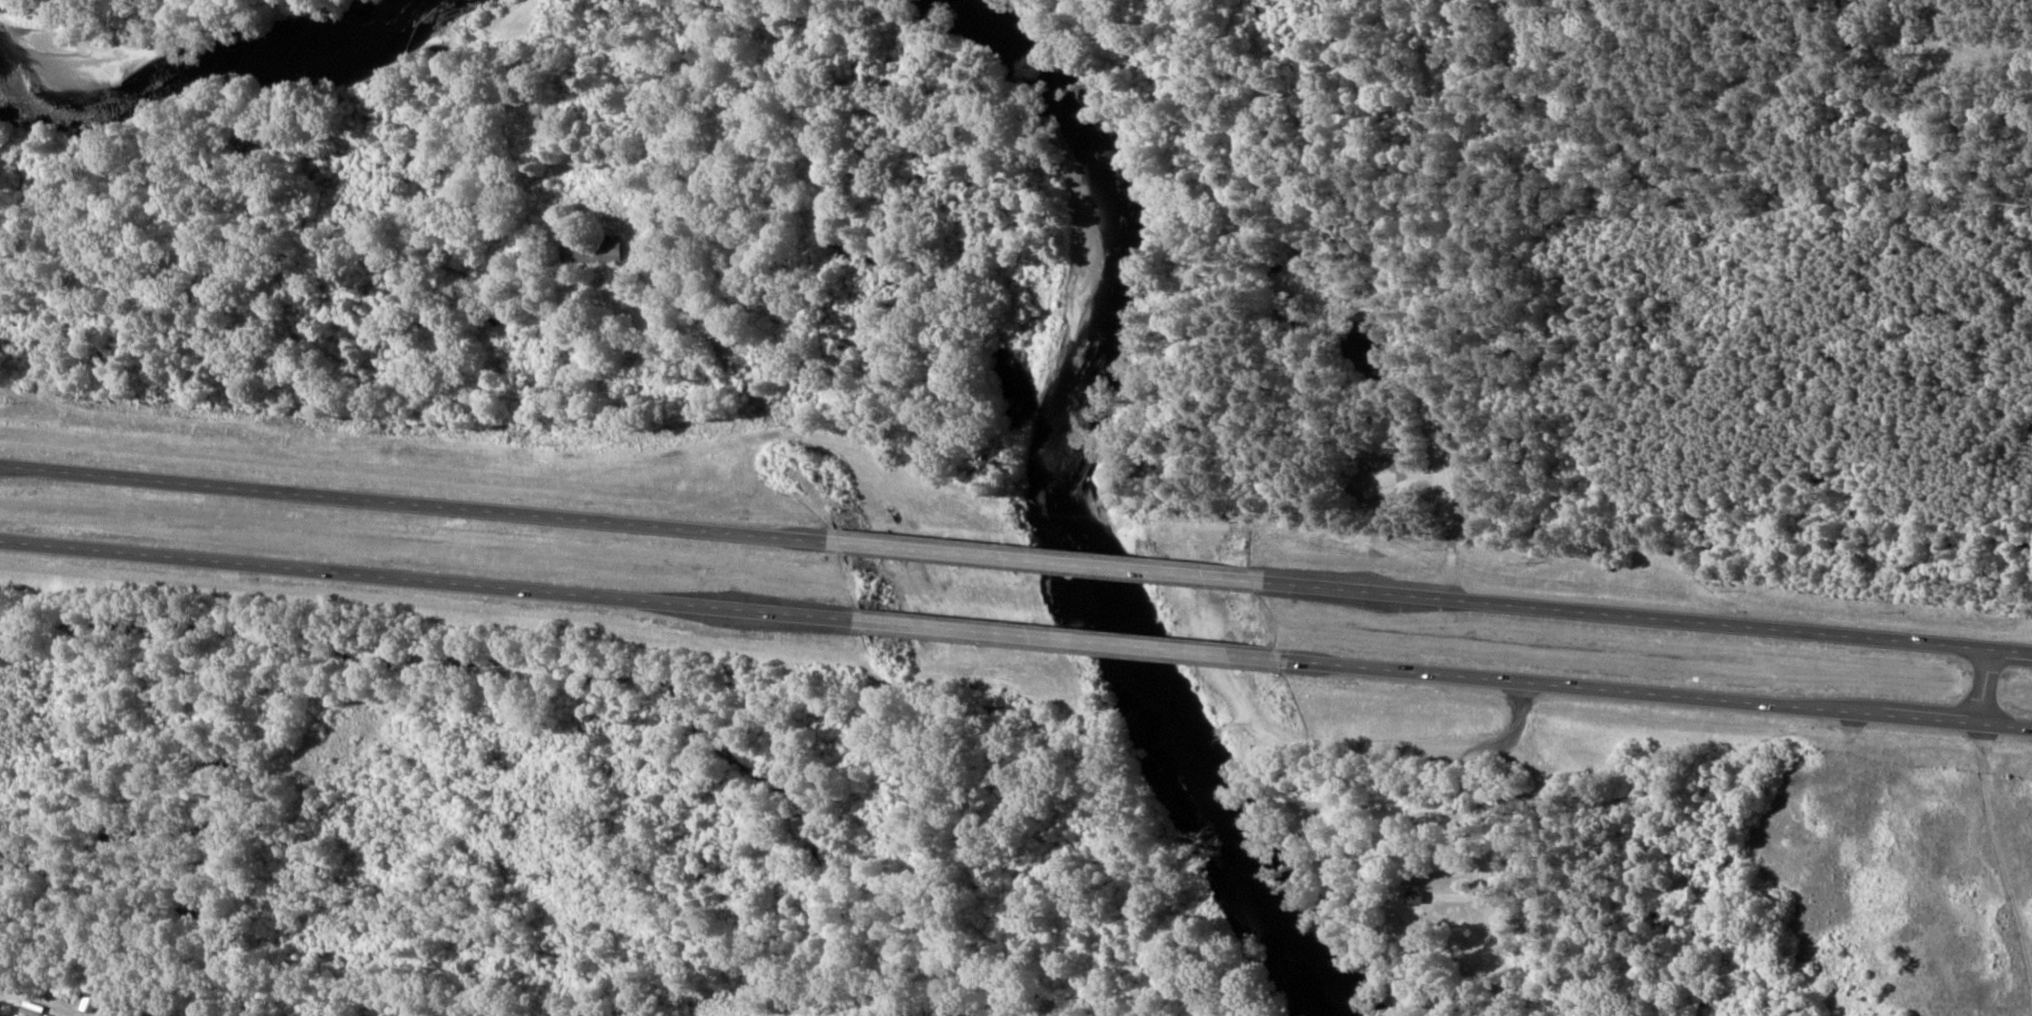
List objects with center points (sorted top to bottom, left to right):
road: (413, 504)
road: (1046, 563)
road: (427, 580)
road: (1649, 618)
road: (1068, 640)
road: (1985, 687)
road: (1657, 694)
building: (28, 1009)

